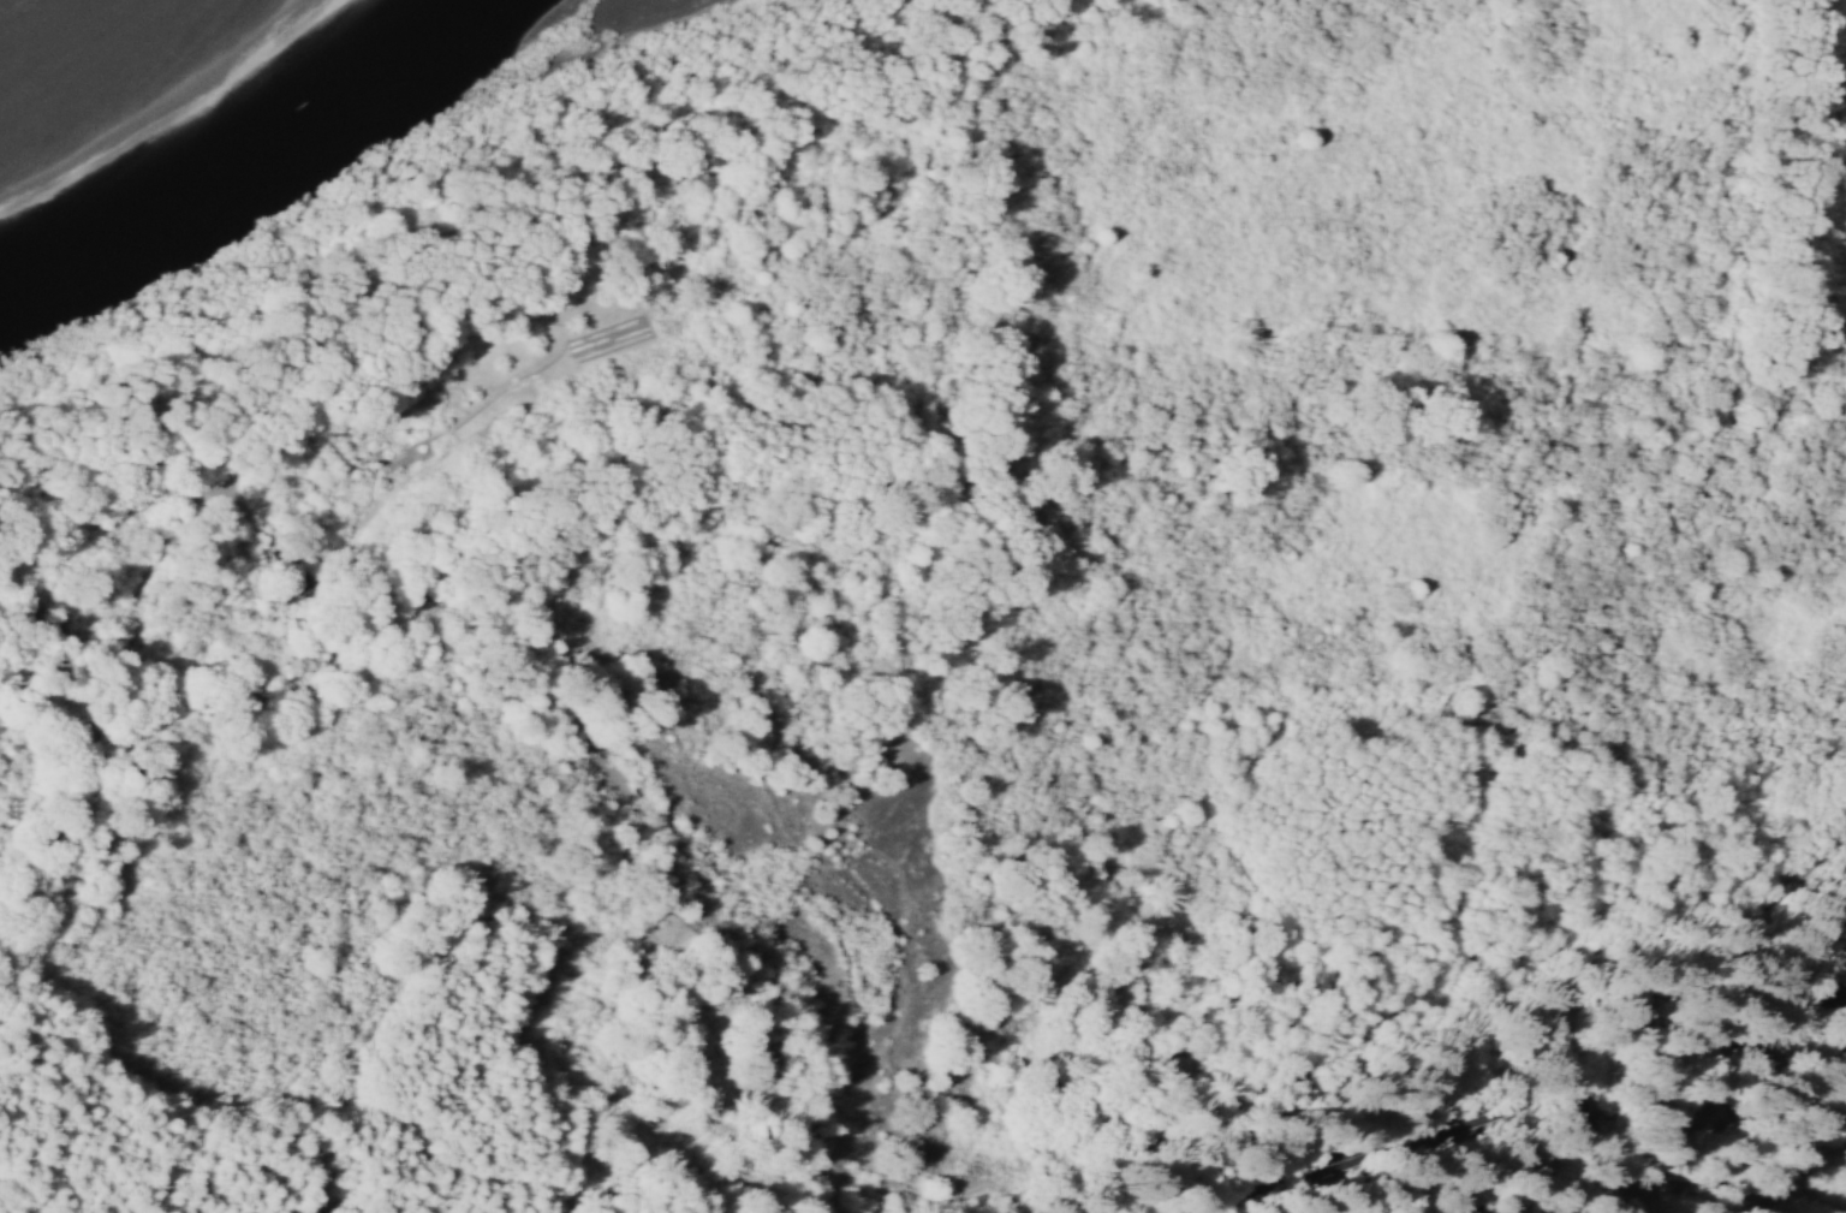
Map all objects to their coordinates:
river: (1, 1)
road: (460, 374)
road: (225, 566)
road: (1530, 1110)

